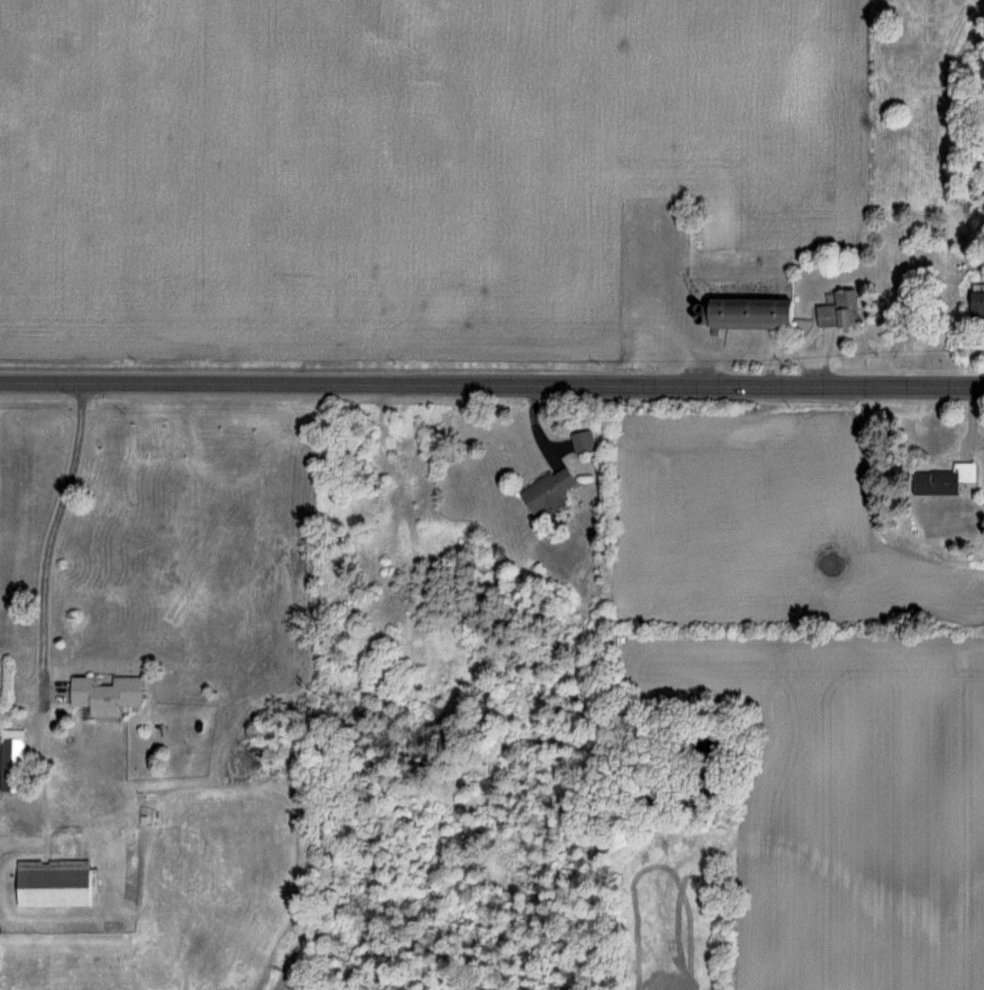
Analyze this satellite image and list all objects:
park: (929, 110)
building: (974, 302)
building: (836, 309)
building: (745, 312)
road: (758, 349)
road: (768, 367)
road: (161, 384)
road: (654, 385)
building: (582, 441)
building: (941, 480)
building: (546, 491)
road: (36, 532)
building: (102, 694)
building: (11, 760)
building: (54, 883)

